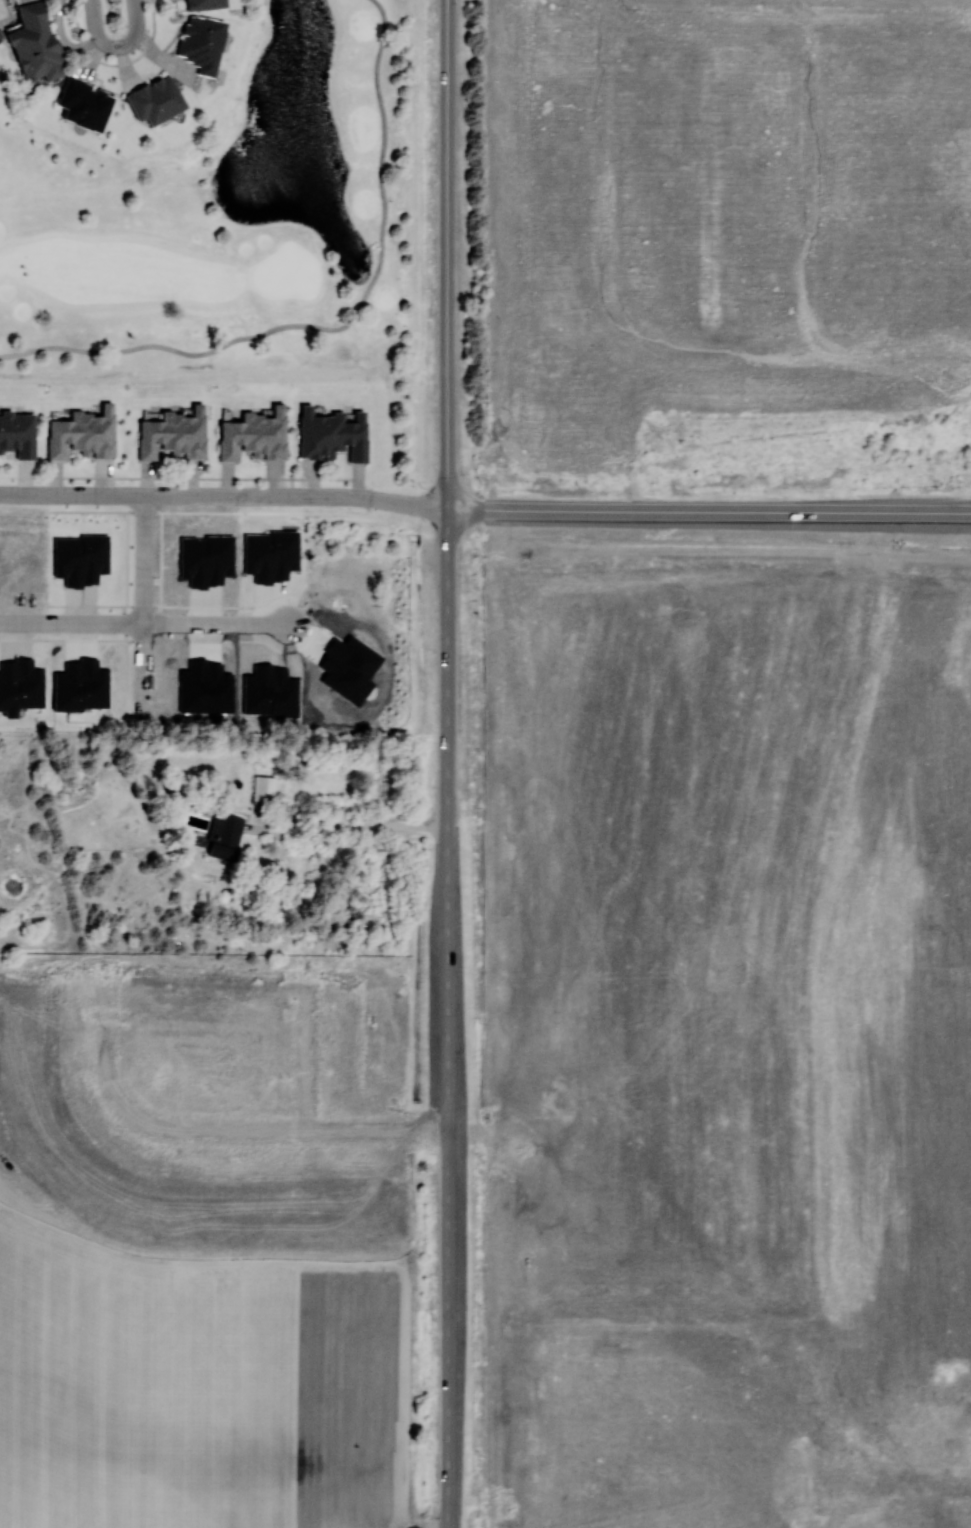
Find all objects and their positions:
road: (112, 4)
building: (205, 4)
road: (761, 29)
road: (929, 30)
road: (953, 30)
building: (201, 42)
building: (34, 44)
park: (121, 67)
building: (155, 99)
building: (84, 103)
road: (755, 148)
road: (915, 149)
road: (923, 149)
road: (929, 149)
road: (953, 149)
park: (448, 150)
road: (601, 163)
park: (258, 230)
road: (448, 254)
road: (338, 327)
road: (763, 352)
road: (915, 352)
road: (946, 352)
building: (18, 432)
road: (889, 432)
building: (82, 433)
building: (174, 433)
building: (255, 434)
building: (332, 434)
road: (180, 477)
road: (193, 496)
road: (403, 503)
road: (434, 508)
road: (97, 510)
road: (709, 511)
building: (270, 554)
road: (127, 557)
building: (81, 558)
road: (119, 604)
road: (145, 604)
road: (123, 613)
road: (449, 620)
road: (72, 622)
road: (218, 622)
building: (19, 685)
building: (81, 685)
building: (263, 788)
road: (348, 825)
building: (224, 835)
road: (449, 845)
road: (106, 1046)
road: (307, 1050)
road: (287, 1126)
road: (449, 1243)

